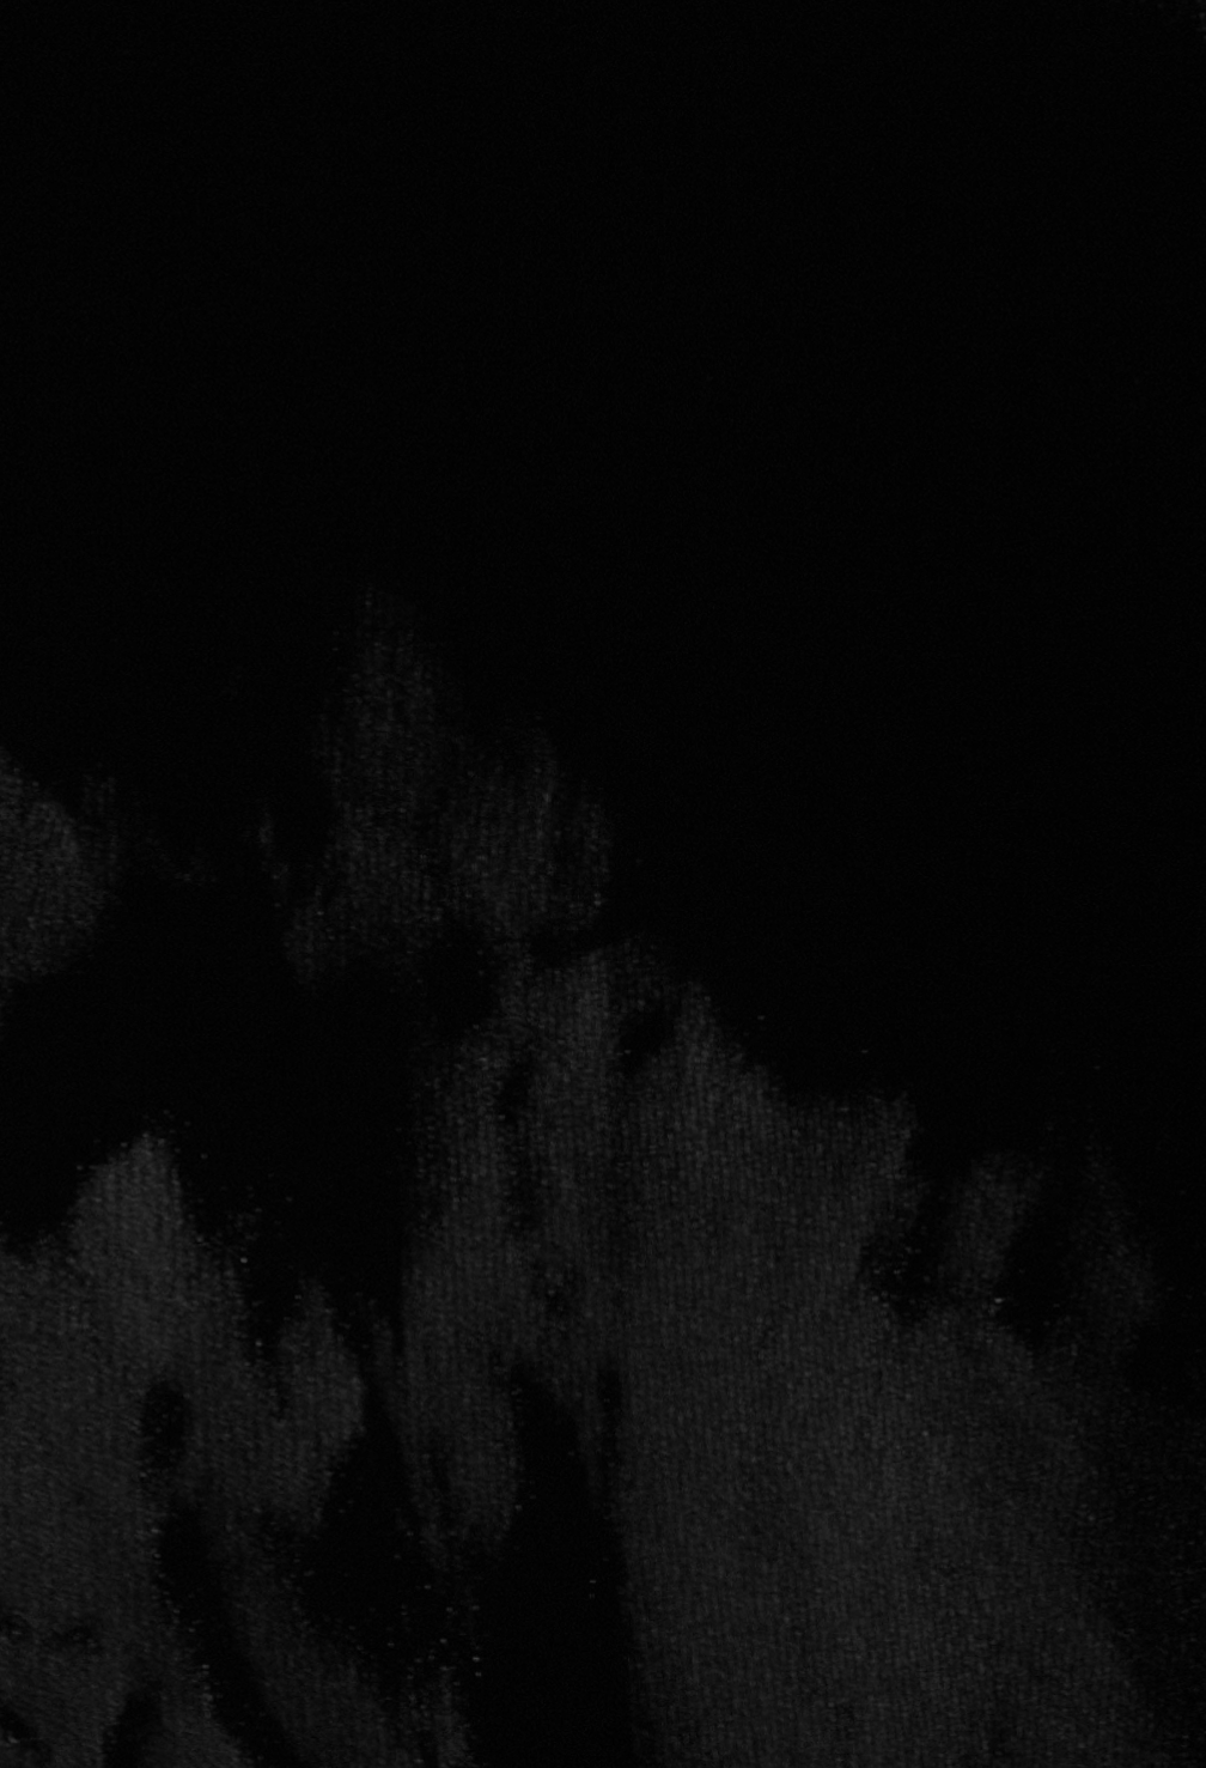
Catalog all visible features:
river: (1200, 17)

